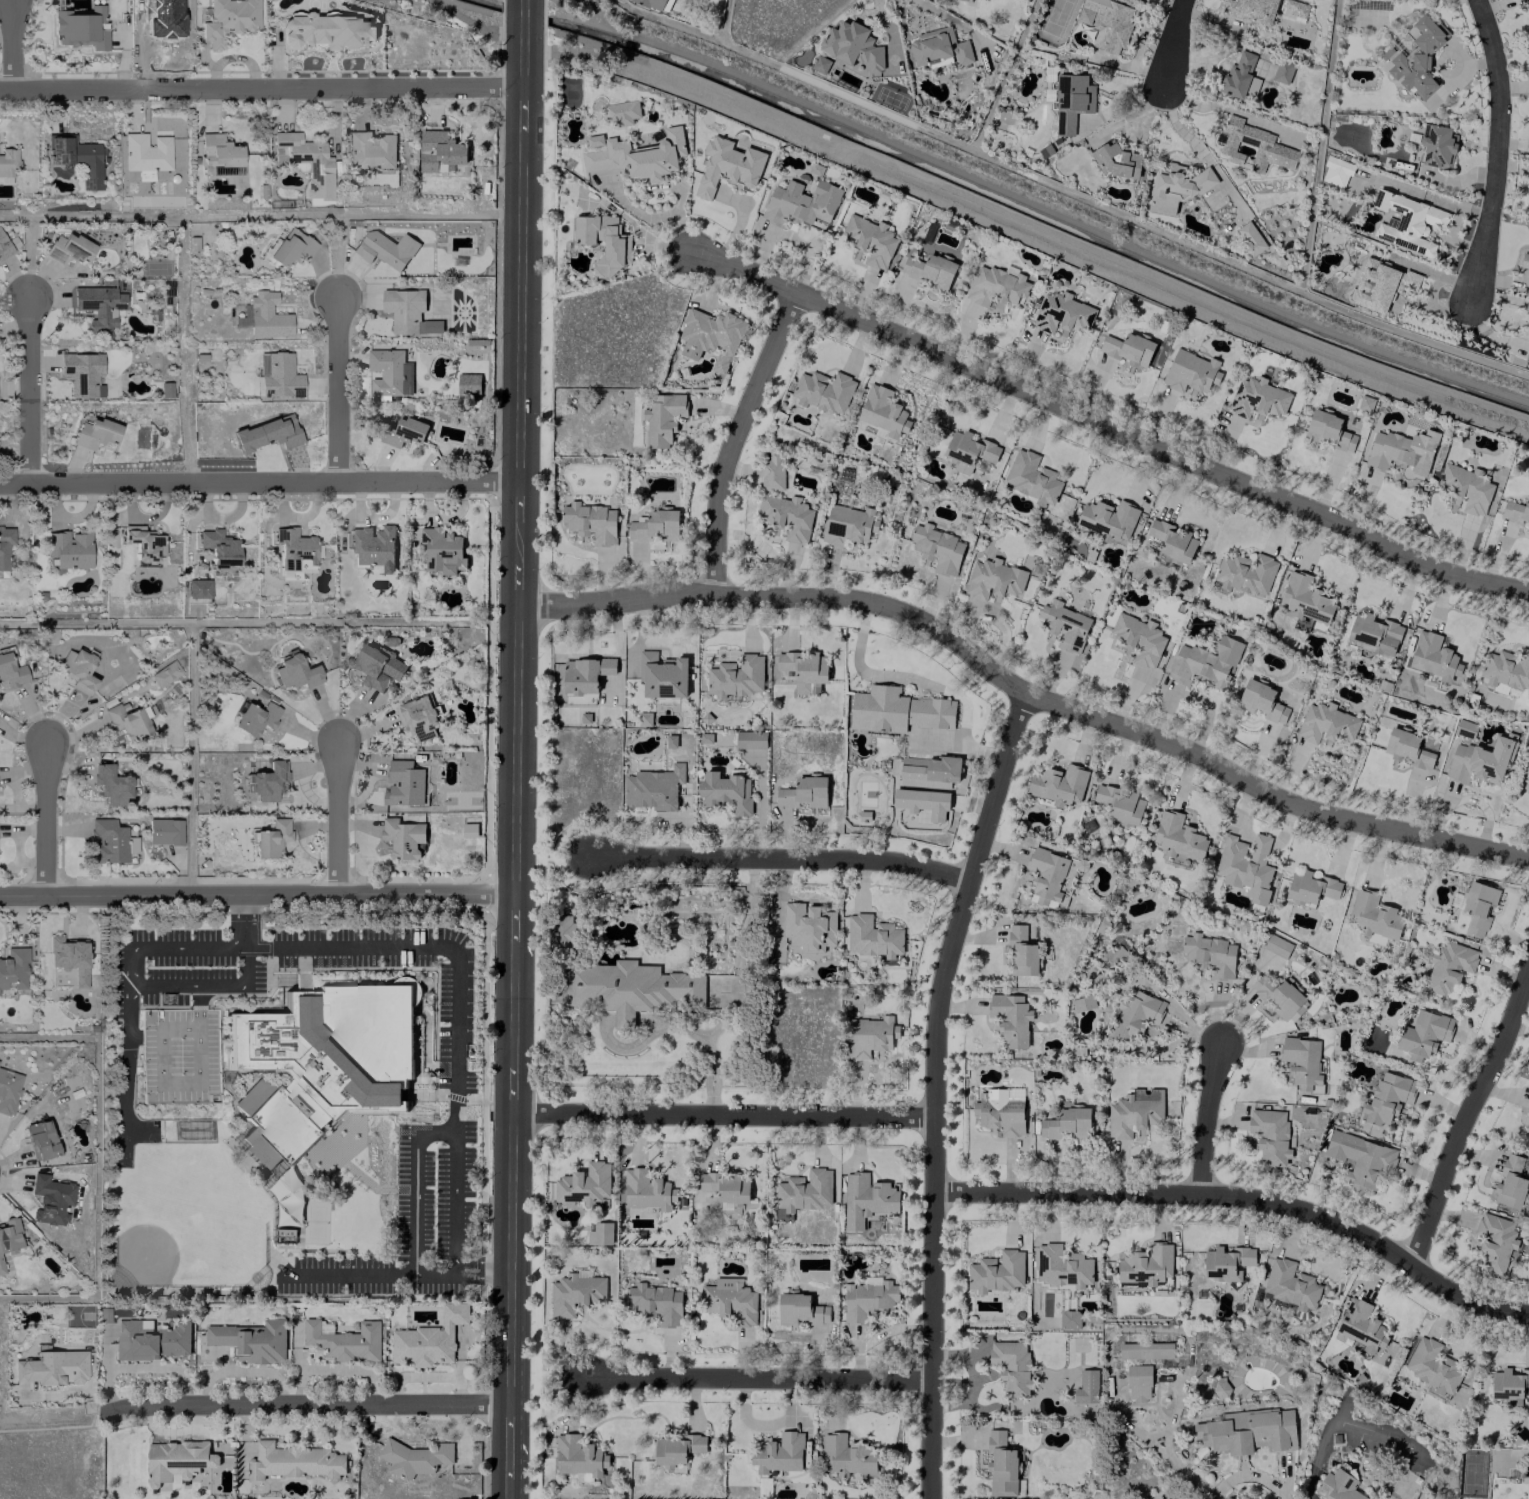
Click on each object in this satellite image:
building: (979, 0)
building: (655, 4)
building: (1295, 8)
building: (1528, 9)
building: (1250, 10)
building: (227, 20)
road: (472, 22)
building: (1106, 23)
building: (80, 27)
building: (325, 31)
road: (1173, 42)
road: (11, 44)
building: (853, 46)
building: (939, 47)
building: (1416, 56)
building: (820, 64)
building: (1282, 71)
building: (1239, 76)
road: (257, 90)
building: (1049, 95)
building: (1072, 101)
road: (1108, 107)
road: (1229, 109)
building: (622, 112)
road: (1130, 116)
road: (1184, 136)
building: (1263, 144)
building: (1436, 146)
road: (1497, 149)
building: (370, 150)
building: (440, 151)
building: (145, 152)
building: (219, 152)
building: (634, 155)
building: (76, 157)
building: (8, 161)
building: (305, 161)
building: (1118, 161)
building: (727, 165)
building: (1336, 171)
building: (144, 174)
building: (5, 180)
building: (1176, 186)
building: (1528, 201)
building: (800, 203)
road: (643, 215)
building: (1407, 222)
road: (682, 229)
building: (1250, 238)
building: (604, 241)
building: (870, 241)
building: (4, 246)
building: (291, 247)
building: (69, 248)
building: (385, 248)
building: (1524, 261)
building: (929, 270)
building: (1381, 284)
building: (997, 286)
building: (99, 305)
building: (408, 312)
building: (1061, 314)
building: (267, 315)
building: (711, 337)
building: (1128, 349)
building: (1528, 358)
building: (389, 372)
building: (1191, 372)
building: (82, 373)
building: (280, 376)
building: (468, 383)
road: (335, 389)
road: (28, 390)
building: (824, 391)
building: (1257, 399)
building: (883, 411)
building: (661, 418)
road: (1108, 424)
building: (402, 430)
building: (1328, 430)
building: (95, 432)
building: (268, 433)
road: (728, 439)
building: (968, 451)
building: (1401, 451)
building: (772, 472)
building: (1031, 478)
road: (257, 481)
building: (1466, 487)
building: (1516, 512)
building: (786, 518)
building: (1107, 520)
building: (590, 523)
building: (848, 524)
building: (654, 525)
building: (1172, 540)
building: (143, 542)
building: (5, 545)
building: (373, 546)
building: (69, 547)
building: (219, 548)
building: (295, 549)
building: (938, 549)
building: (442, 550)
building: (1245, 573)
building: (993, 580)
building: (198, 588)
building: (1305, 599)
road: (517, 607)
building: (1064, 625)
building: (1373, 634)
building: (1138, 639)
building: (1434, 657)
building: (1205, 662)
building: (377, 666)
building: (77, 669)
building: (11, 670)
building: (805, 670)
building: (1506, 670)
building: (295, 671)
building: (165, 673)
building: (585, 674)
building: (662, 675)
road: (899, 676)
building: (735, 677)
road: (1023, 694)
road: (1191, 695)
building: (1261, 701)
building: (897, 710)
building: (255, 717)
building: (418, 717)
building: (644, 719)
building: (1326, 723)
building: (1465, 728)
building: (750, 739)
building: (670, 741)
building: (1407, 748)
building: (1480, 760)
building: (1526, 768)
building: (928, 772)
building: (265, 781)
building: (404, 783)
building: (110, 784)
building: (1058, 785)
building: (653, 788)
building: (726, 791)
building: (803, 792)
building: (923, 802)
building: (1120, 804)
road: (1243, 806)
road: (1287, 818)
road: (46, 819)
road: (335, 821)
building: (164, 830)
building: (402, 837)
building: (1178, 837)
building: (271, 838)
building: (108, 841)
road: (1261, 841)
road: (782, 854)
building: (1246, 865)
building: (1046, 875)
building: (1310, 887)
road: (256, 895)
building: (1476, 905)
building: (1374, 915)
road: (240, 917)
building: (808, 926)
building: (563, 933)
building: (873, 936)
building: (1276, 946)
road: (175, 947)
building: (1022, 952)
building: (1210, 954)
building: (69, 956)
building: (1449, 967)
building: (13, 970)
road: (126, 980)
road: (205, 985)
building: (629, 989)
building: (1280, 997)
building: (1082, 1003)
building: (1134, 1016)
building: (1009, 1019)
road: (457, 1029)
building: (1423, 1034)
building: (869, 1035)
building: (323, 1061)
building: (1301, 1061)
road: (707, 1065)
road: (125, 1067)
building: (8, 1089)
road: (937, 1091)
building: (1388, 1098)
building: (1528, 1111)
road: (724, 1113)
building: (1000, 1113)
building: (1134, 1113)
road: (1203, 1115)
road: (1471, 1122)
building: (1066, 1124)
road: (430, 1131)
building: (1270, 1134)
building: (40, 1139)
building: (1361, 1160)
building: (1511, 1182)
building: (584, 1184)
building: (726, 1189)
building: (803, 1192)
road: (1247, 1198)
building: (50, 1199)
building: (866, 1199)
road: (415, 1210)
building: (600, 1233)
building: (9, 1235)
building: (1495, 1242)
building: (1227, 1262)
building: (1146, 1264)
building: (1062, 1266)
building: (1, 1267)
road: (434, 1270)
building: (997, 1271)
road: (357, 1274)
building: (1290, 1284)
building: (868, 1300)
building: (730, 1301)
building: (656, 1303)
building: (800, 1309)
building: (1069, 1319)
building: (428, 1339)
building: (150, 1340)
building: (251, 1340)
building: (344, 1340)
building: (1145, 1350)
road: (508, 1356)
building: (52, 1366)
building: (1011, 1366)
building: (1432, 1367)
road: (763, 1376)
building: (1138, 1383)
building: (1508, 1383)
building: (1087, 1386)
building: (1220, 1387)
road: (302, 1405)
road: (49, 1420)
building: (1248, 1431)
building: (677, 1448)
building: (778, 1452)
building: (846, 1455)
building: (414, 1457)
building: (579, 1458)
building: (177, 1460)
building: (297, 1461)
building: (1001, 1465)
building: (1528, 1468)
road: (1247, 1477)
building: (1337, 1486)

